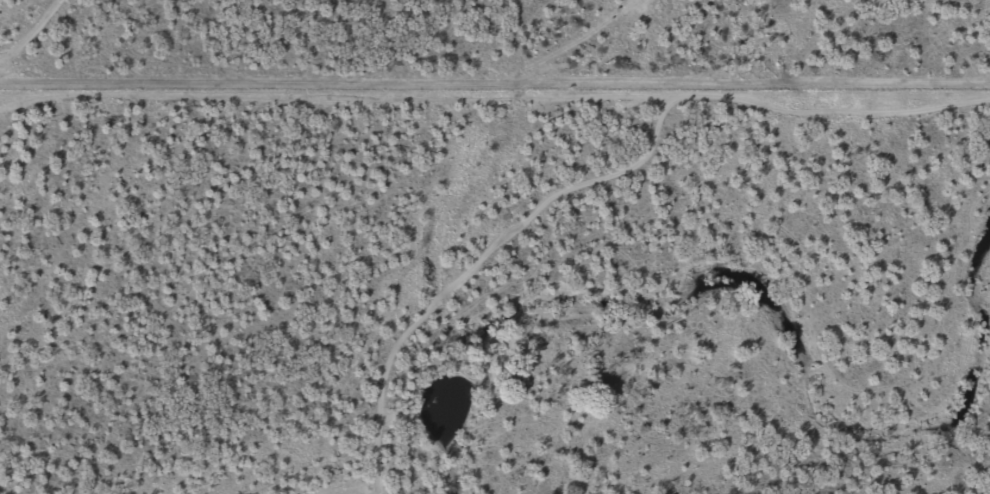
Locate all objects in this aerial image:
road: (585, 160)

